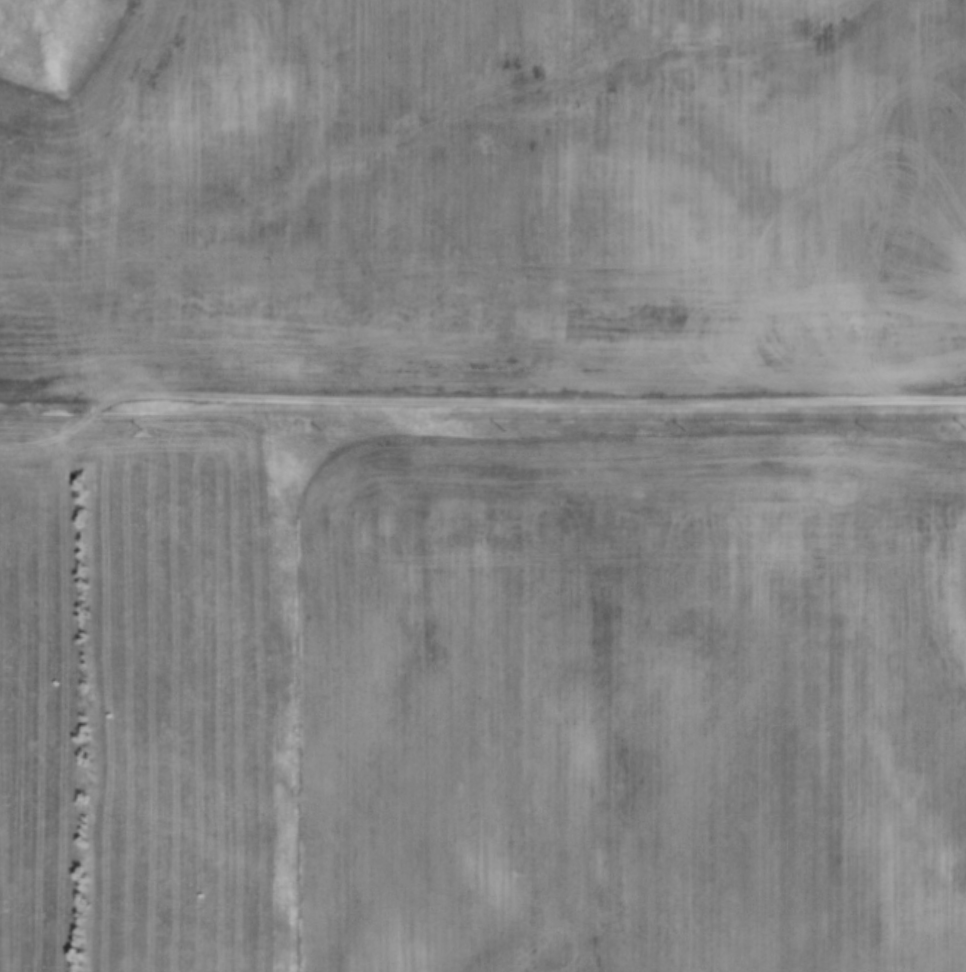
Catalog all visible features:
road: (64, 403)
road: (480, 413)

